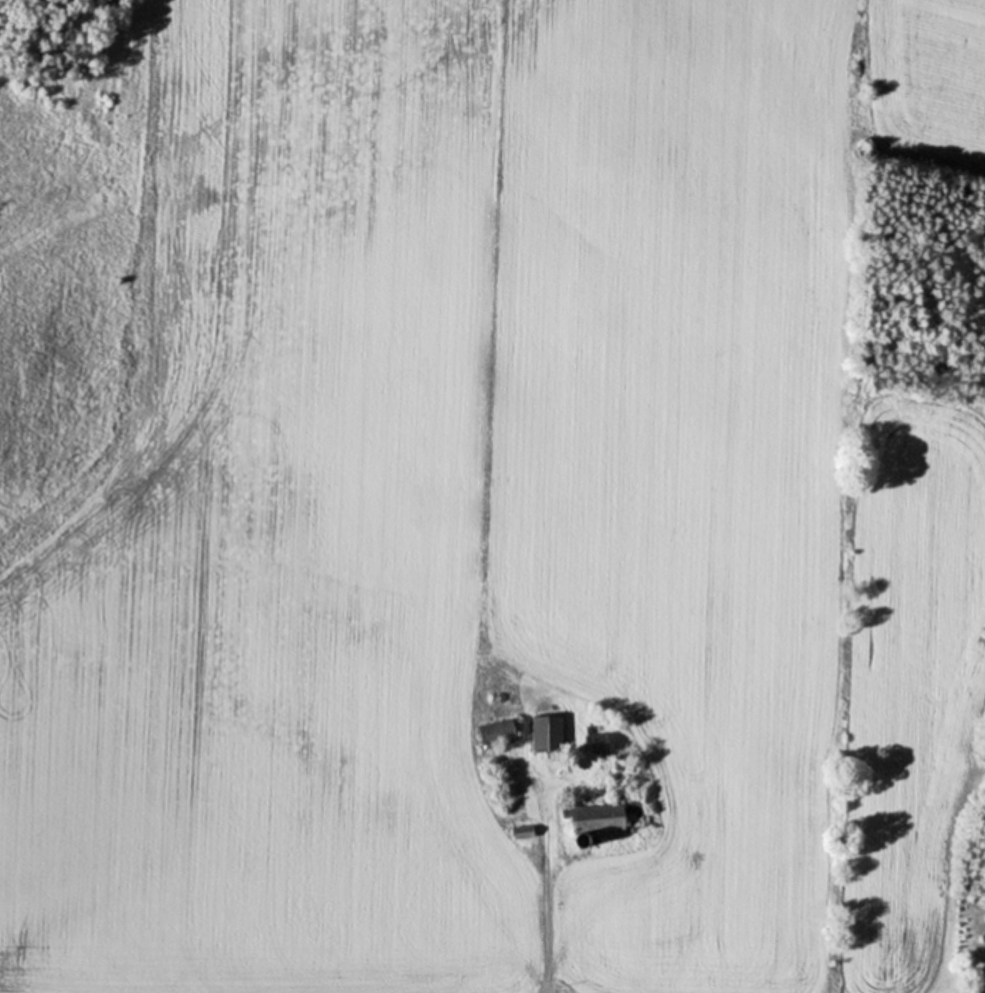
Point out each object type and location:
building: (545, 732)
building: (495, 733)
building: (595, 817)
road: (546, 918)

